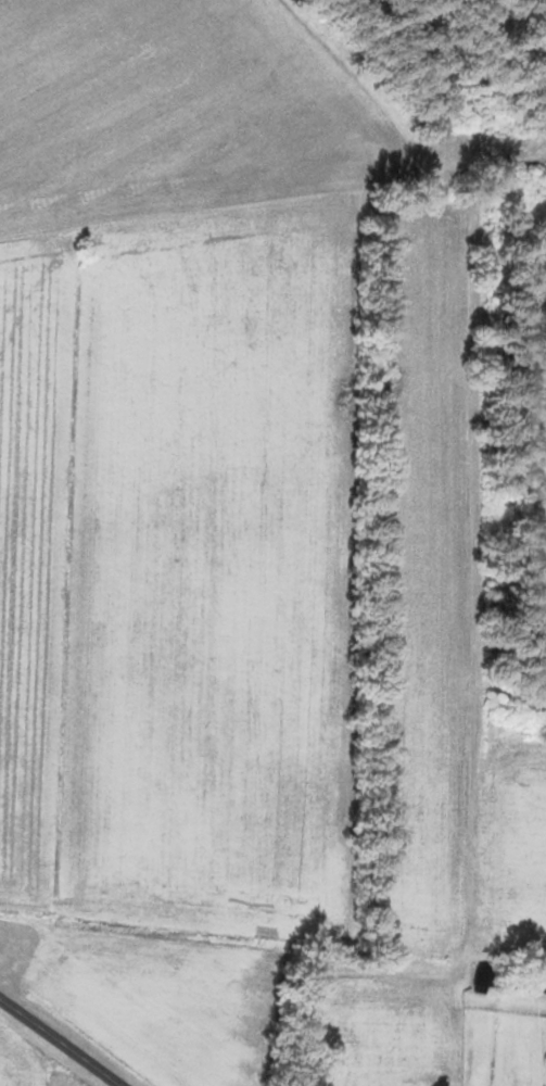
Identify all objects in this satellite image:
building: (529, 984)
road: (50, 1049)

